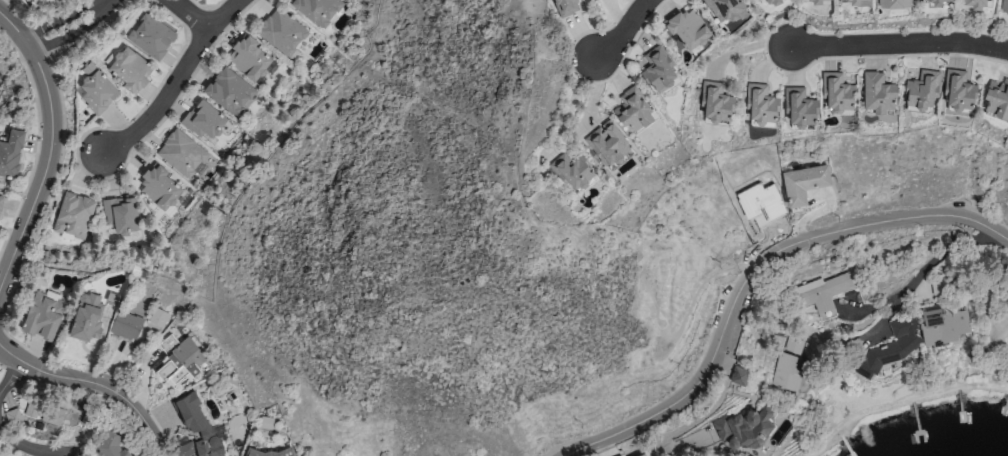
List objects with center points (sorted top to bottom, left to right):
building: (33, 0)
road: (114, 0)
building: (757, 0)
road: (112, 1)
building: (808, 1)
building: (929, 1)
building: (774, 2)
building: (857, 2)
building: (893, 3)
building: (1003, 5)
building: (567, 6)
building: (725, 9)
building: (318, 10)
road: (193, 14)
building: (687, 26)
building: (281, 31)
road: (623, 31)
building: (150, 35)
road: (898, 43)
building: (249, 59)
building: (128, 67)
building: (658, 70)
road: (176, 82)
building: (94, 88)
building: (921, 88)
building: (228, 90)
building: (877, 91)
building: (958, 91)
building: (836, 93)
building: (997, 97)
road: (570, 104)
building: (714, 104)
building: (760, 104)
building: (799, 107)
building: (633, 109)
building: (203, 119)
road: (48, 143)
building: (608, 144)
building: (10, 151)
building: (181, 153)
building: (572, 170)
building: (802, 184)
building: (159, 187)
building: (0, 198)
building: (73, 213)
building: (121, 216)
road: (977, 231)
road: (757, 272)
road: (913, 278)
building: (821, 295)
road: (988, 298)
building: (42, 313)
building: (1005, 313)
building: (85, 314)
building: (157, 317)
building: (941, 324)
building: (125, 325)
building: (792, 345)
building: (891, 346)
building: (177, 360)
building: (786, 371)
road: (7, 372)
building: (737, 372)
road: (93, 386)
building: (46, 414)
building: (746, 425)
building: (195, 430)
building: (108, 445)
road: (32, 449)
building: (262, 451)
building: (611, 452)
building: (641, 454)

